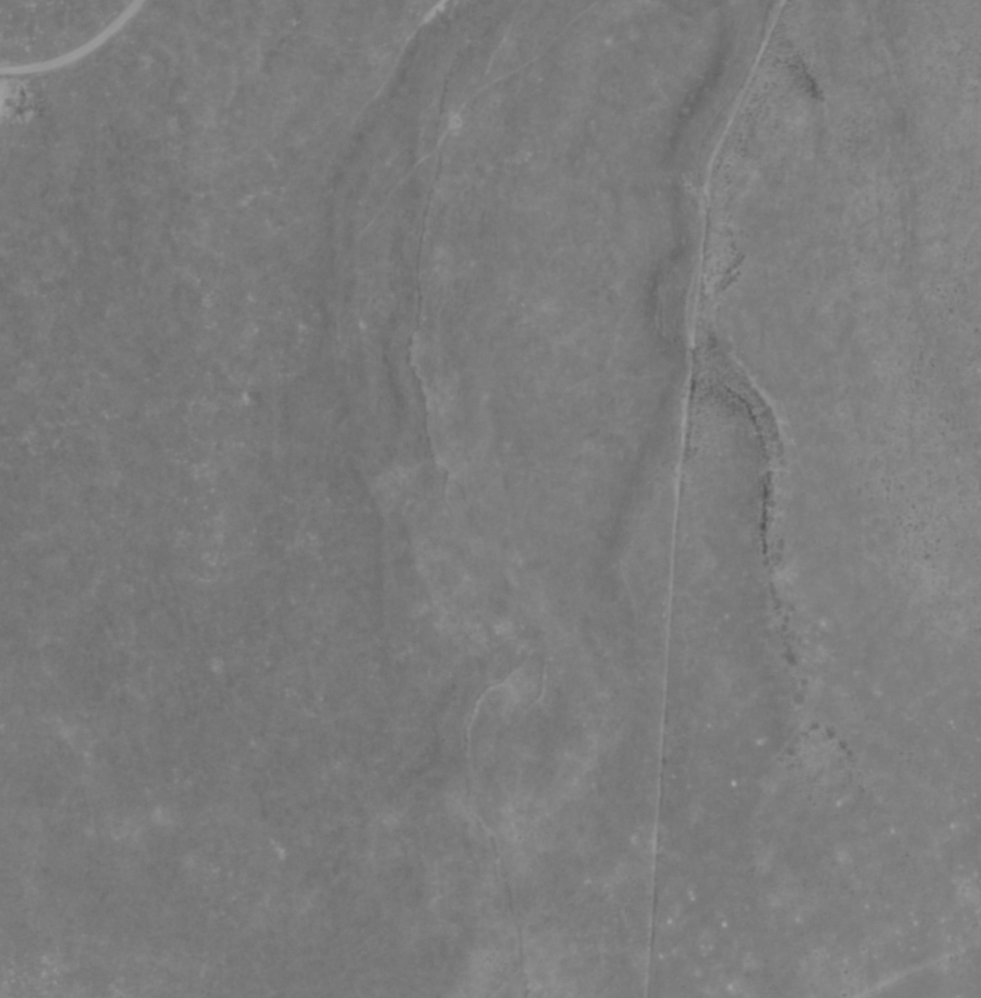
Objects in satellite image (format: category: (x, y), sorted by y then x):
road: (83, 57)

